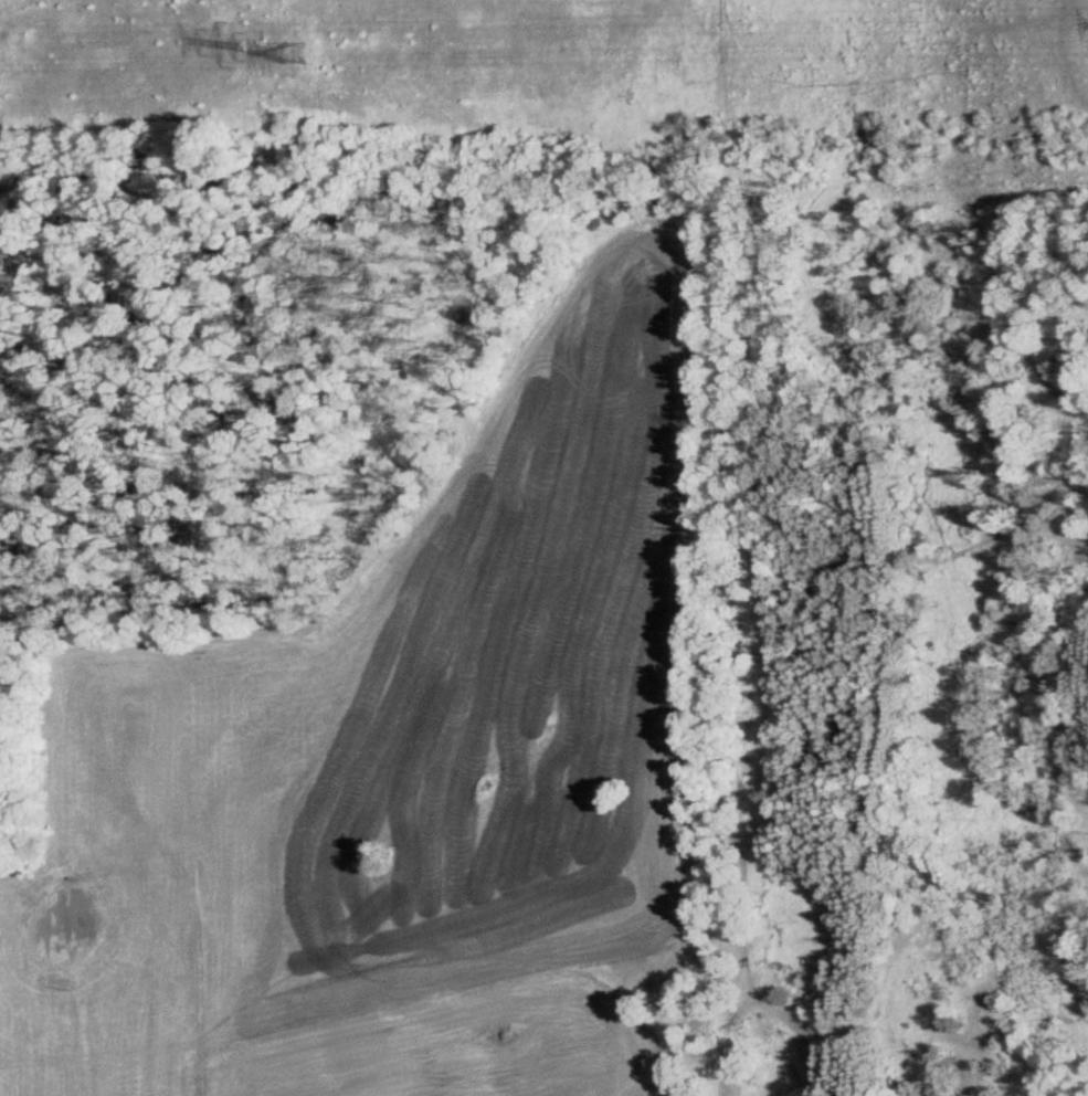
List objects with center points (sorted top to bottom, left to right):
power tower: (297, 46)
crop: (397, 734)

